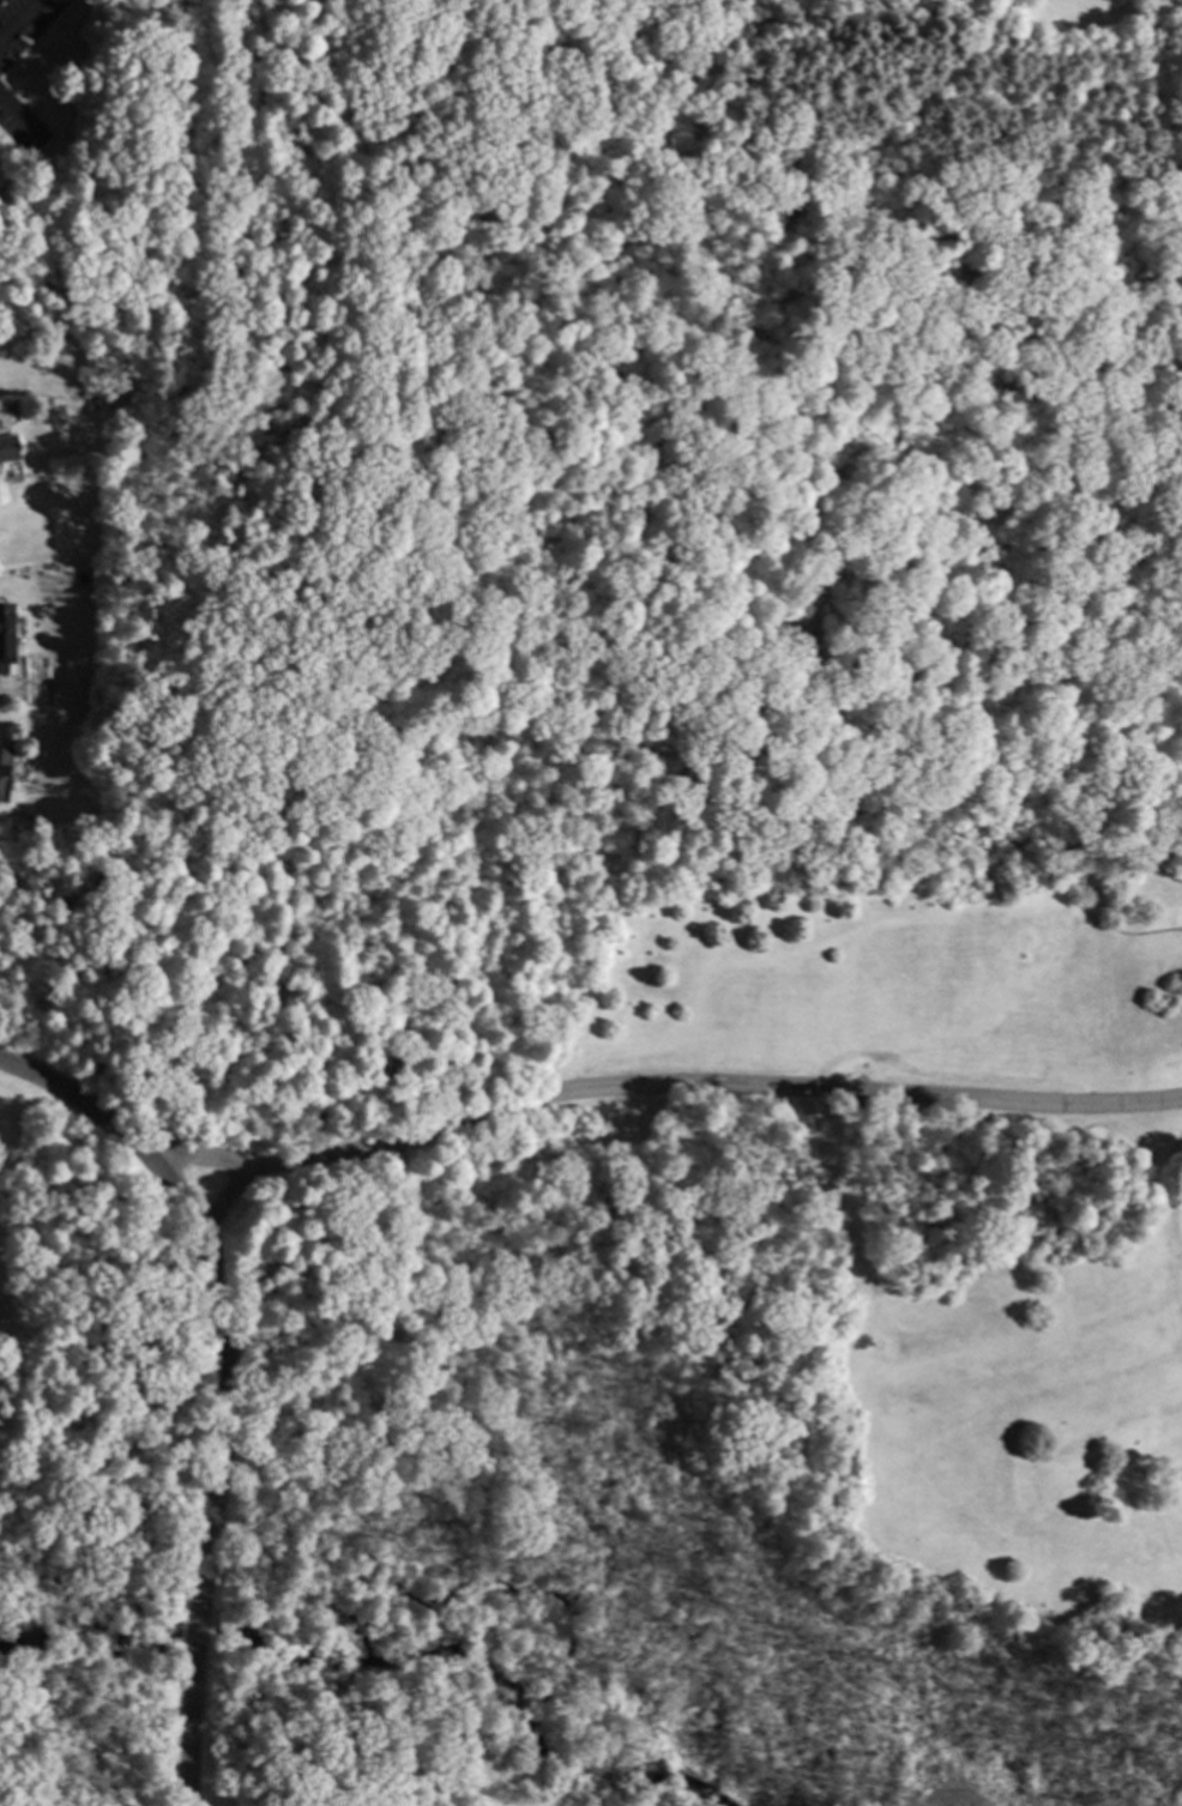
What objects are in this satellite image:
road: (20, 22)
road: (12, 125)
road: (887, 222)
road: (734, 372)
building: (8, 449)
road: (376, 569)
building: (7, 639)
road: (889, 753)
building: (5, 771)
road: (1062, 890)
road: (629, 996)
road: (657, 1082)
parking lot: (1106, 1091)
road: (77, 1095)
road: (1162, 1184)
road: (836, 1190)
road: (225, 1196)
park: (591, 1324)
road: (224, 1370)
road: (198, 1629)
road: (191, 1726)

